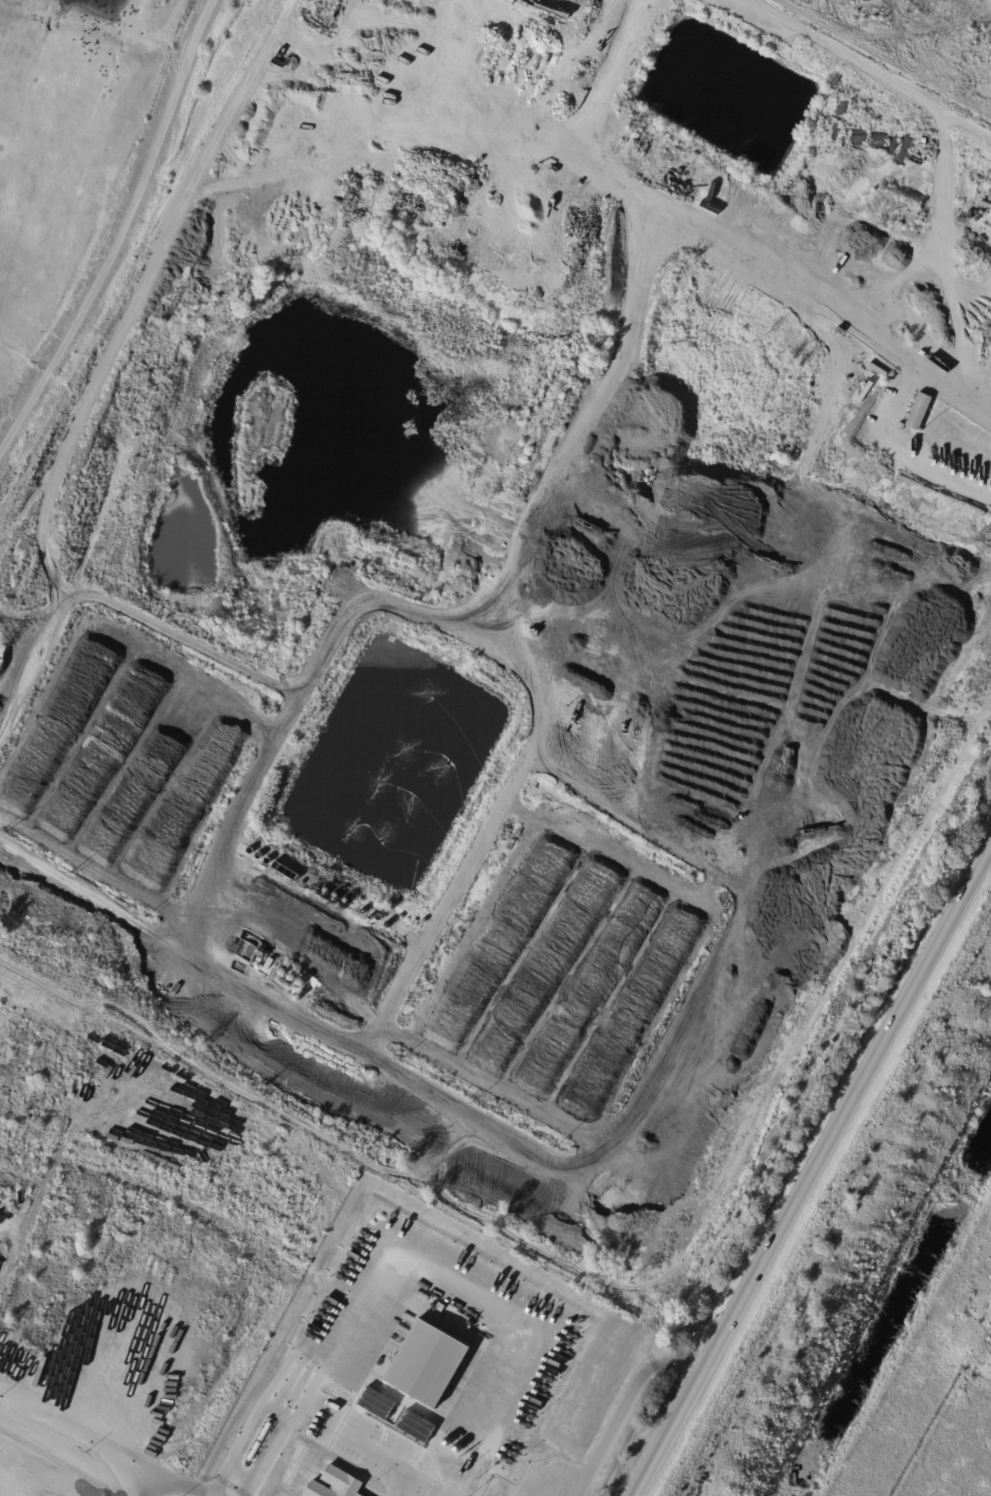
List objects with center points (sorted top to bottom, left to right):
road: (870, 62)
road: (687, 216)
building: (919, 412)
road: (883, 421)
road: (813, 1176)
road: (433, 1273)
building: (439, 1307)
building: (426, 1365)
building: (376, 1403)
road: (625, 1405)
road: (272, 1406)
building: (415, 1426)
road: (83, 1434)
road: (386, 1461)
building: (442, 1481)
building: (333, 1484)
road: (179, 1488)

